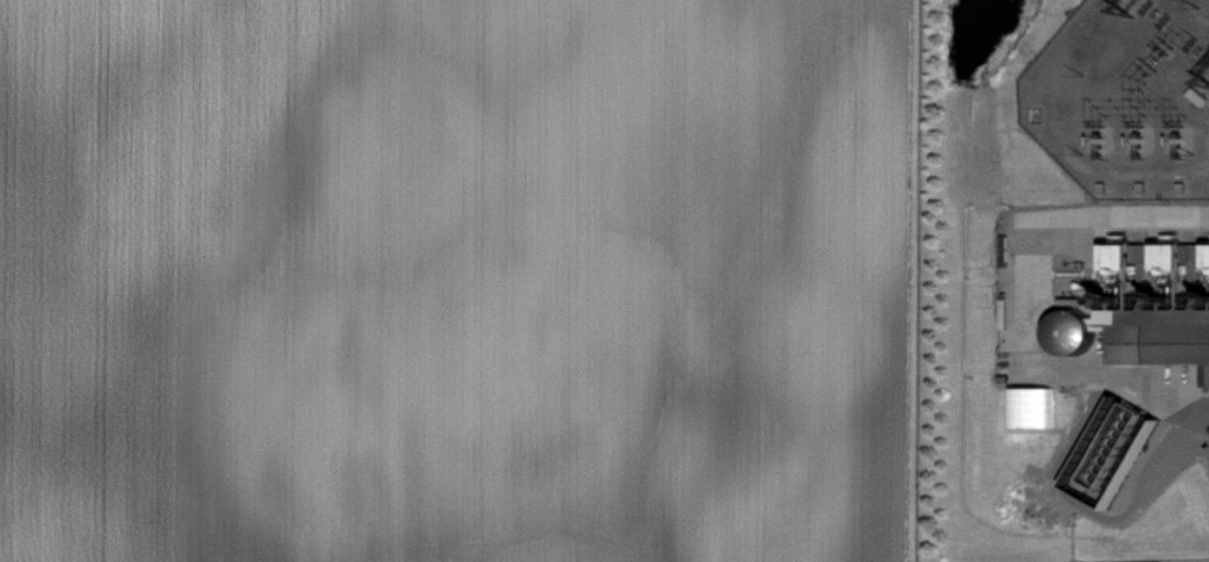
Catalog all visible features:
power substation: (1126, 95)
chimney: (1120, 302)
chimney: (1171, 304)
silo: (1075, 328)
building: (1159, 332)
building: (1036, 408)
building: (1121, 442)

